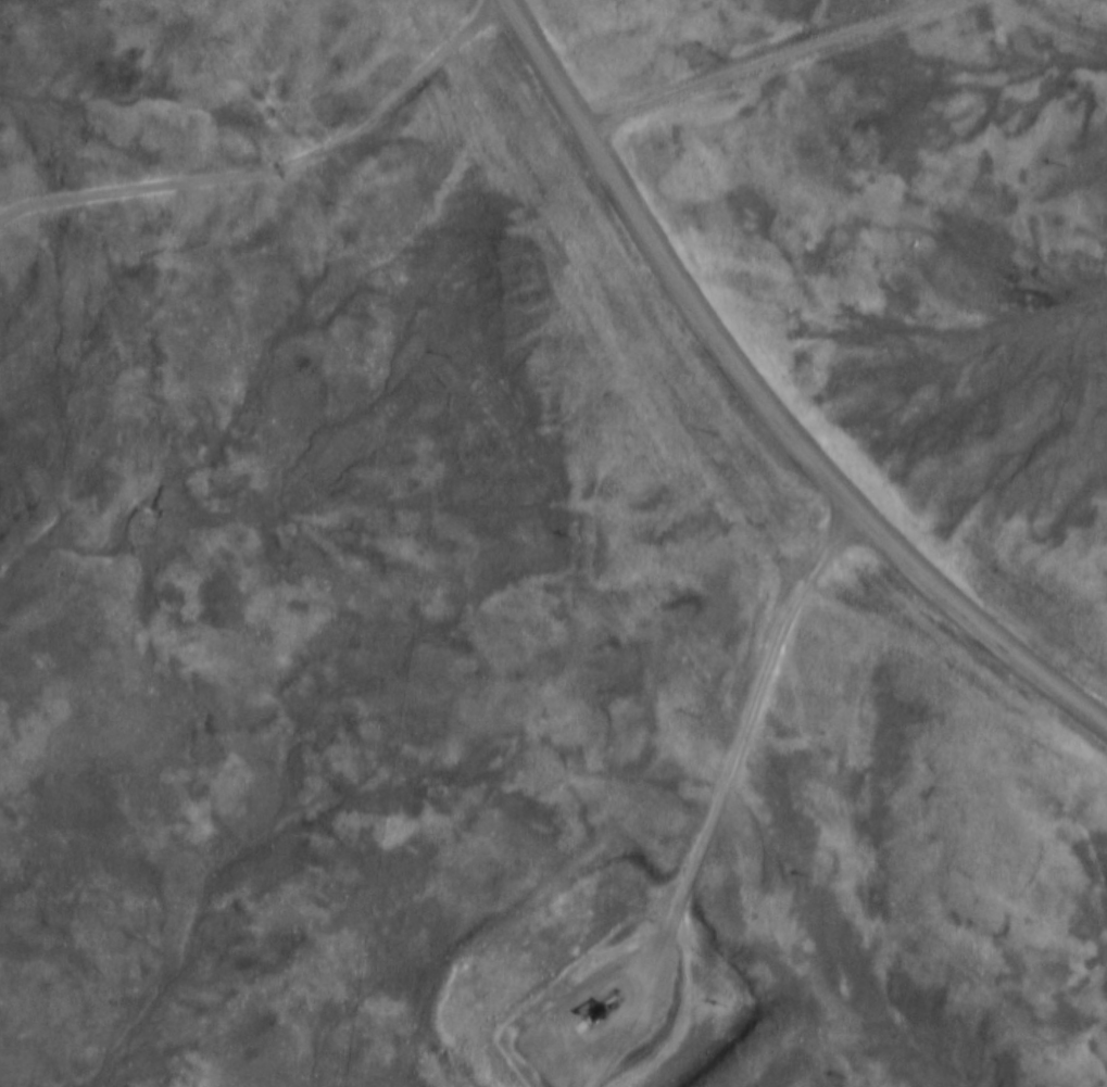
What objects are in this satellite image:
road: (762, 65)
road: (276, 167)
road: (760, 402)
road: (720, 797)
petroleum well: (663, 974)
petroleum well: (593, 1013)

